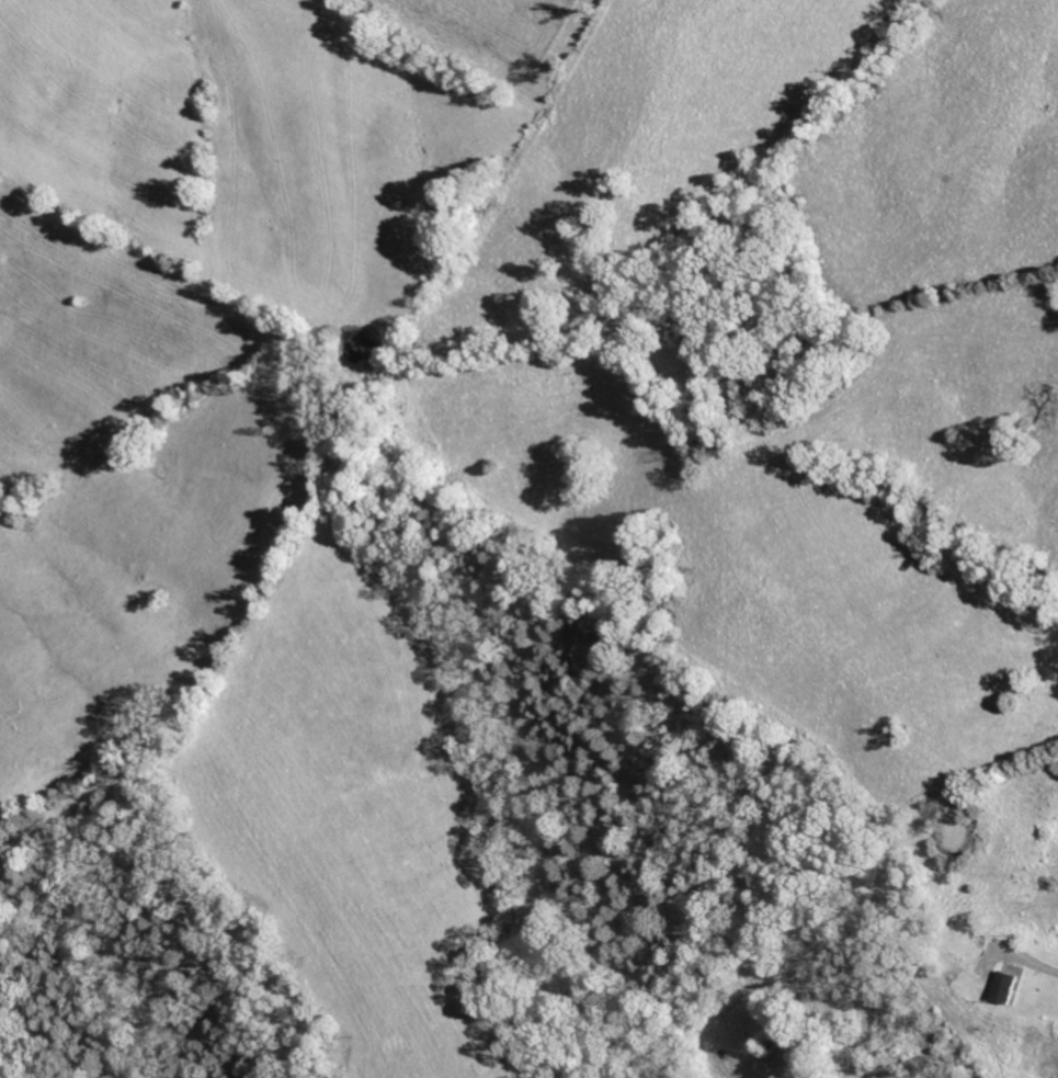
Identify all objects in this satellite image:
road: (1034, 966)
building: (1003, 987)

